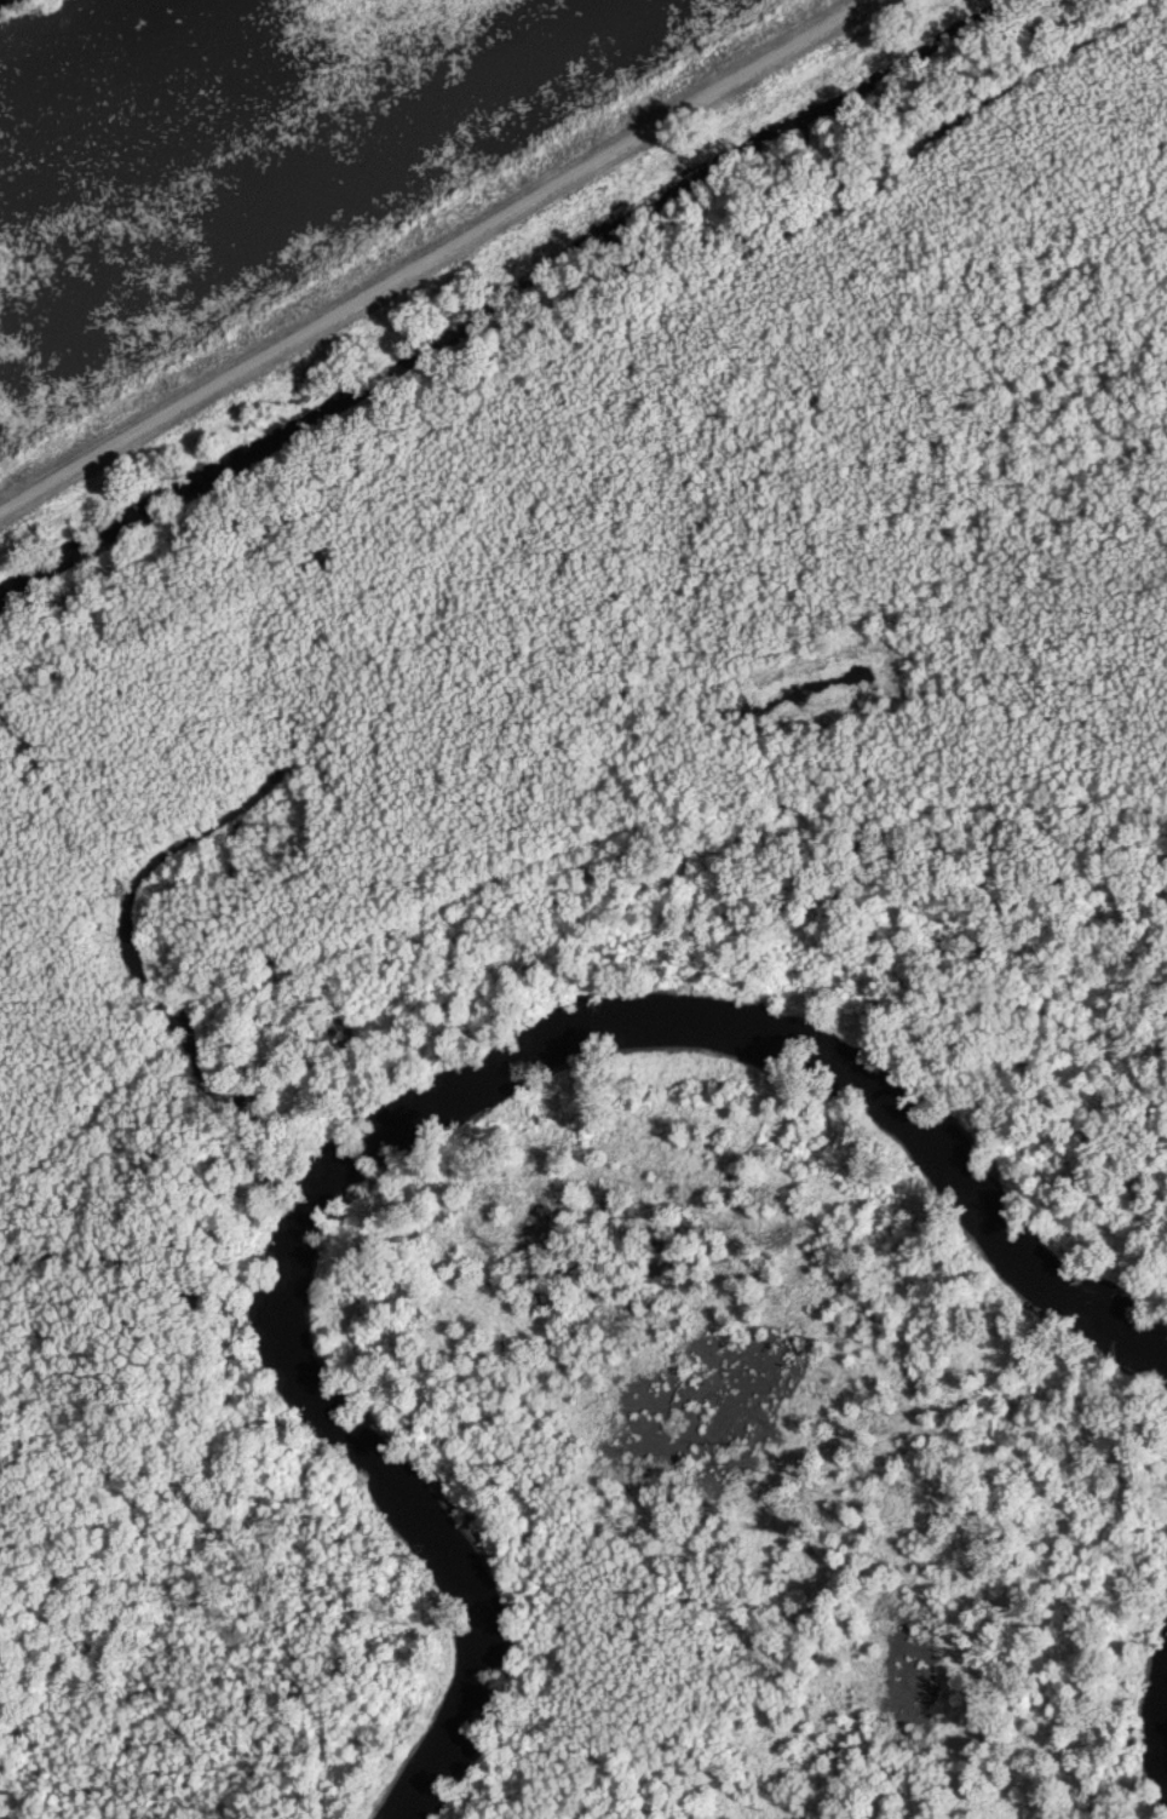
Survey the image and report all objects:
road: (431, 253)
road: (1149, 804)

